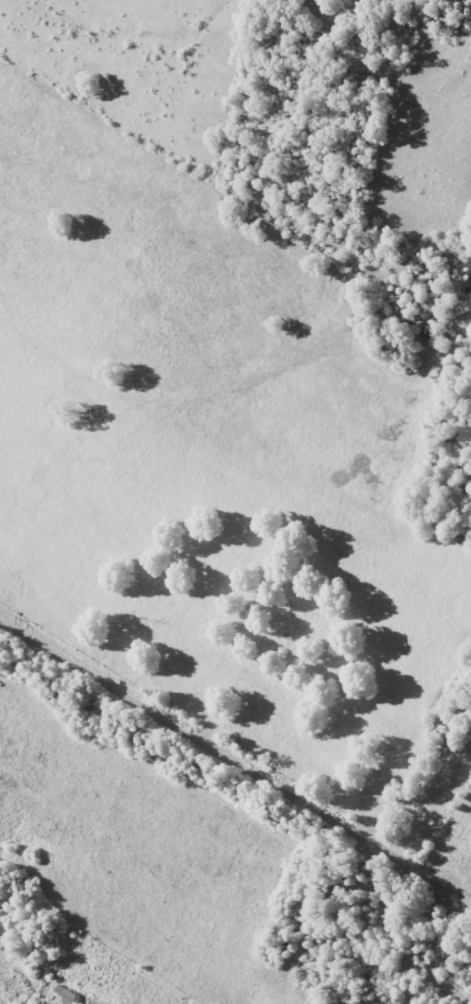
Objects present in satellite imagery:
road: (235, 755)

